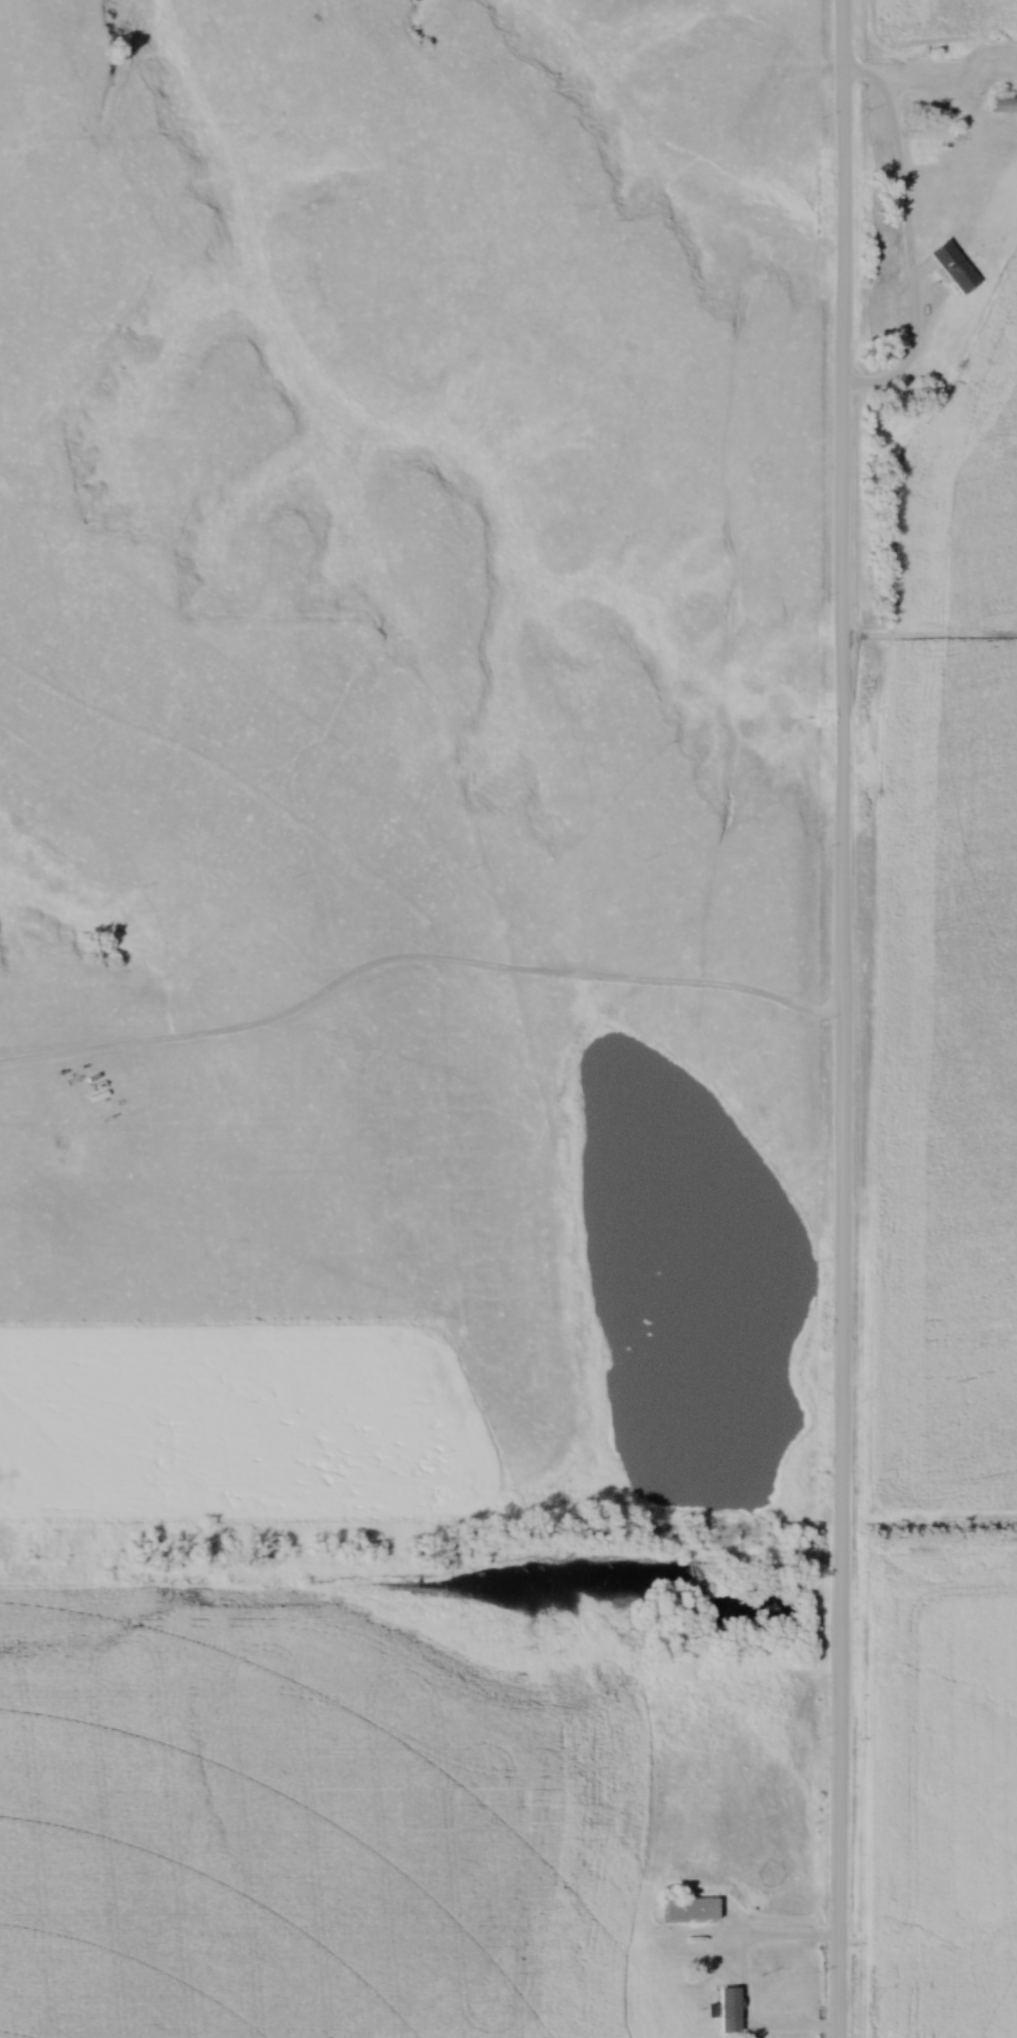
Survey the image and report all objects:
building: (1005, 104)
road: (911, 233)
building: (958, 269)
road: (846, 1019)
building: (694, 1910)
road: (744, 1977)
building: (734, 2011)

